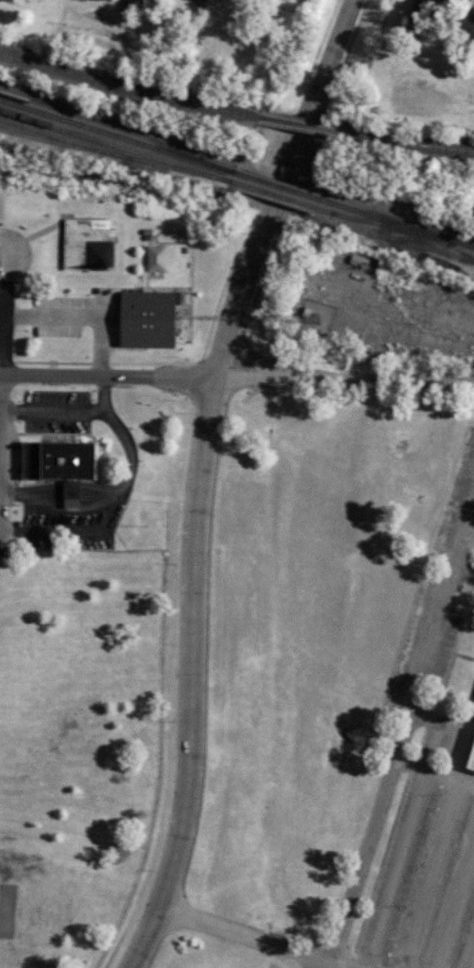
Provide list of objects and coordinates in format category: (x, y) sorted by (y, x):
building: (7, 0)
building: (437, 4)
building: (131, 5)
building: (464, 22)
park: (432, 85)
railway: (126, 88)
railway: (102, 122)
railway: (300, 125)
railway: (118, 136)
railway: (57, 137)
railway: (410, 141)
railway: (113, 145)
railway: (87, 149)
railway: (279, 186)
railway: (273, 194)
railway: (375, 223)
railway: (397, 224)
road: (1, 290)
building: (142, 319)
road: (107, 373)
road: (345, 376)
building: (58, 460)
road: (200, 477)
park: (33, 681)
road: (406, 724)
park: (81, 743)
building: (470, 755)
park: (7, 909)
road: (250, 936)

